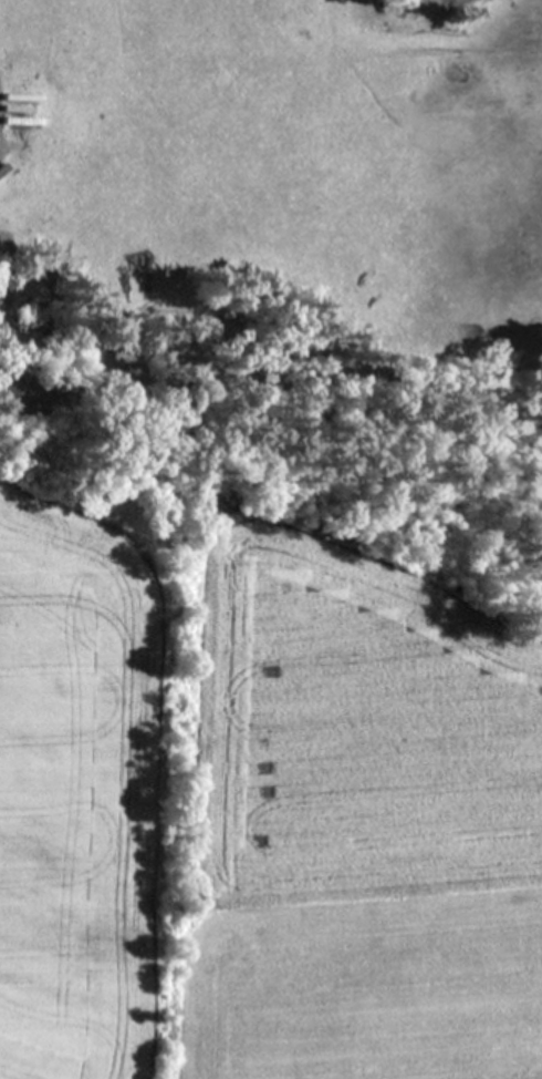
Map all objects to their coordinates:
crop: (96, 784)
crop: (363, 822)

